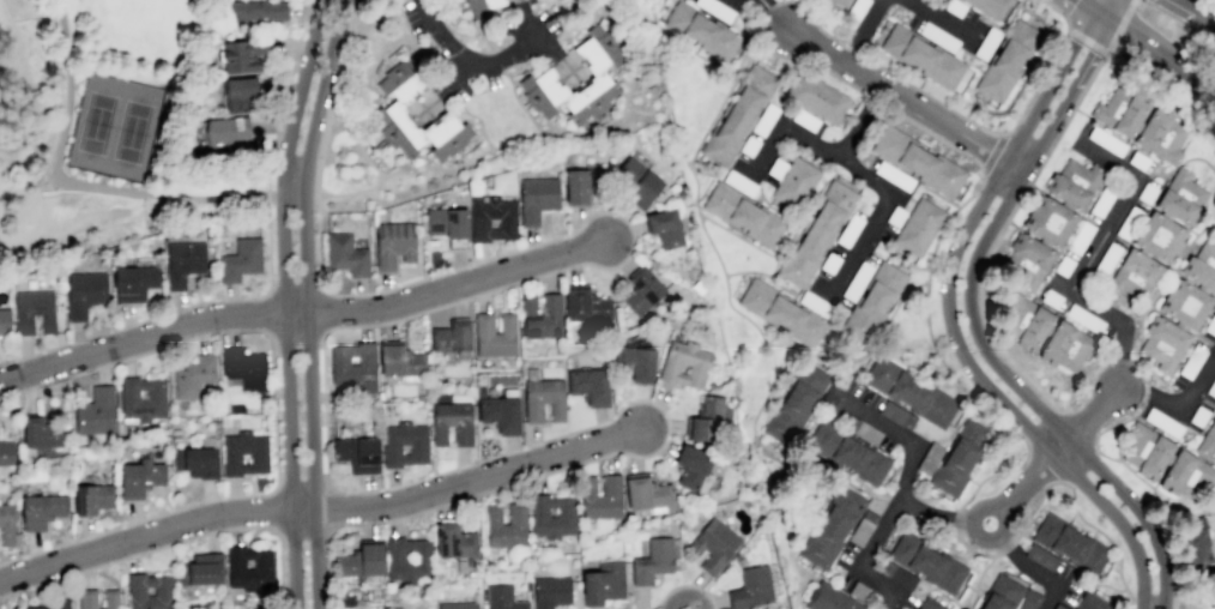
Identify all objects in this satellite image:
road: (564, 0)
road: (1135, 0)
building: (842, 2)
road: (749, 4)
road: (652, 5)
building: (483, 6)
road: (769, 6)
building: (987, 6)
building: (954, 7)
building: (715, 8)
building: (856, 8)
street lamp: (1135, 10)
road: (1197, 10)
building: (254, 11)
road: (569, 11)
road: (1087, 11)
road: (1107, 11)
road: (587, 12)
road: (773, 14)
road: (811, 16)
road: (1034, 17)
road: (1174, 17)
road: (939, 19)
parking lot: (418, 22)
traffic signals: (1102, 22)
road: (473, 25)
building: (700, 28)
road: (863, 31)
road: (973, 35)
building: (938, 36)
road: (750, 43)
building: (986, 44)
building: (598, 49)
road: (853, 50)
road: (1110, 50)
road: (454, 52)
street lamp: (1080, 53)
building: (242, 54)
road: (556, 54)
building: (921, 55)
road: (800, 56)
road: (1159, 56)
road: (433, 59)
road: (497, 59)
building: (1007, 60)
road: (1089, 61)
road: (483, 62)
road: (422, 64)
building: (401, 80)
road: (298, 86)
road: (446, 90)
road: (447, 91)
building: (543, 91)
building: (240, 92)
road: (363, 95)
road: (665, 96)
road: (283, 97)
building: (817, 97)
building: (591, 98)
road: (871, 98)
road: (905, 101)
road: (519, 102)
road: (977, 102)
road: (968, 108)
road: (645, 111)
building: (1120, 111)
building: (739, 115)
road: (479, 119)
building: (764, 119)
building: (804, 120)
road: (1027, 125)
building: (225, 126)
park: (116, 128)
building: (397, 128)
park: (109, 129)
road: (788, 129)
road: (1003, 133)
building: (445, 135)
building: (1160, 135)
building: (1106, 140)
road: (324, 141)
road: (524, 143)
building: (748, 145)
road: (1146, 151)
road: (991, 152)
building: (918, 161)
building: (1138, 161)
road: (708, 167)
building: (775, 168)
road: (1023, 173)
road: (705, 174)
building: (893, 175)
road: (292, 176)
road: (71, 182)
building: (637, 182)
building: (739, 182)
building: (1075, 182)
building: (582, 183)
building: (792, 183)
road: (695, 185)
road: (877, 185)
road: (937, 194)
building: (1181, 195)
building: (537, 198)
building: (1104, 199)
road: (192, 210)
building: (743, 213)
building: (1050, 221)
building: (446, 222)
building: (479, 223)
building: (852, 227)
building: (918, 227)
road: (1210, 227)
building: (664, 228)
road: (75, 234)
building: (816, 234)
building: (1159, 236)
building: (1080, 237)
road: (993, 240)
building: (394, 243)
building: (345, 254)
building: (240, 259)
road: (901, 259)
building: (1029, 260)
road: (1174, 260)
building: (182, 261)
building: (829, 263)
building: (1063, 265)
road: (773, 266)
building: (1202, 266)
building: (1134, 275)
road: (770, 277)
building: (133, 283)
road: (294, 288)
building: (642, 289)
building: (83, 293)
building: (1051, 299)
building: (872, 300)
road: (307, 302)
road: (1092, 302)
building: (812, 303)
building: (1185, 303)
building: (586, 307)
road: (925, 308)
road: (179, 309)
building: (781, 309)
building: (32, 310)
road: (891, 310)
road: (302, 312)
road: (320, 312)
road: (268, 313)
building: (540, 315)
building: (1084, 318)
building: (4, 320)
building: (1027, 320)
building: (1179, 325)
road: (1179, 325)
building: (1210, 325)
building: (494, 334)
road: (295, 337)
building: (452, 340)
building: (1163, 343)
road: (1039, 345)
building: (1066, 345)
road: (875, 348)
road: (772, 360)
road: (1116, 360)
building: (400, 361)
building: (635, 361)
road: (1134, 361)
building: (1191, 361)
building: (696, 363)
building: (353, 366)
building: (243, 368)
road: (1151, 373)
road: (1077, 375)
building: (193, 376)
road: (1155, 384)
building: (588, 386)
building: (908, 386)
road: (1163, 387)
road: (768, 388)
building: (1211, 388)
road: (286, 391)
road: (1146, 391)
building: (542, 397)
building: (794, 398)
building: (235, 408)
building: (143, 409)
building: (95, 411)
building: (500, 412)
road: (273, 414)
building: (896, 415)
building: (1198, 416)
building: (709, 421)
road: (1088, 421)
building: (451, 422)
building: (1162, 422)
road: (1080, 424)
road: (1027, 429)
road: (1060, 429)
building: (175, 430)
building: (40, 432)
building: (865, 433)
building: (175, 439)
road: (902, 440)
building: (1208, 441)
building: (1137, 442)
building: (404, 444)
road: (1117, 444)
building: (846, 450)
building: (6, 452)
building: (357, 453)
building: (959, 457)
building: (258, 458)
building: (930, 458)
building: (1155, 458)
building: (195, 460)
building: (691, 465)
building: (139, 477)
building: (1187, 477)
road: (326, 478)
road: (1142, 480)
road: (1026, 483)
road: (301, 488)
building: (647, 494)
building: (600, 496)
building: (91, 498)
road: (331, 507)
building: (41, 509)
road: (272, 509)
road: (320, 511)
road: (1076, 513)
building: (551, 515)
road: (1071, 515)
road: (954, 519)
building: (832, 523)
building: (6, 524)
building: (507, 525)
road: (303, 529)
road: (883, 531)
road: (1093, 532)
road: (991, 537)
building: (453, 539)
road: (174, 542)
building: (1072, 543)
building: (714, 544)
road: (1009, 545)
building: (1198, 547)
road: (974, 553)
building: (422, 554)
road: (959, 556)
building: (1041, 556)
building: (361, 560)
building: (652, 560)
building: (926, 561)
road: (1113, 568)
building: (199, 569)
road: (1032, 571)
road: (826, 572)
building: (249, 577)
road: (977, 580)
building: (603, 583)
road: (1096, 583)
road: (681, 585)
building: (750, 587)
building: (163, 591)
building: (550, 591)
building: (999, 591)
building: (502, 597)
building: (86, 598)
building: (110, 598)
building: (829, 598)
building: (1090, 602)
building: (930, 604)
building: (458, 605)

